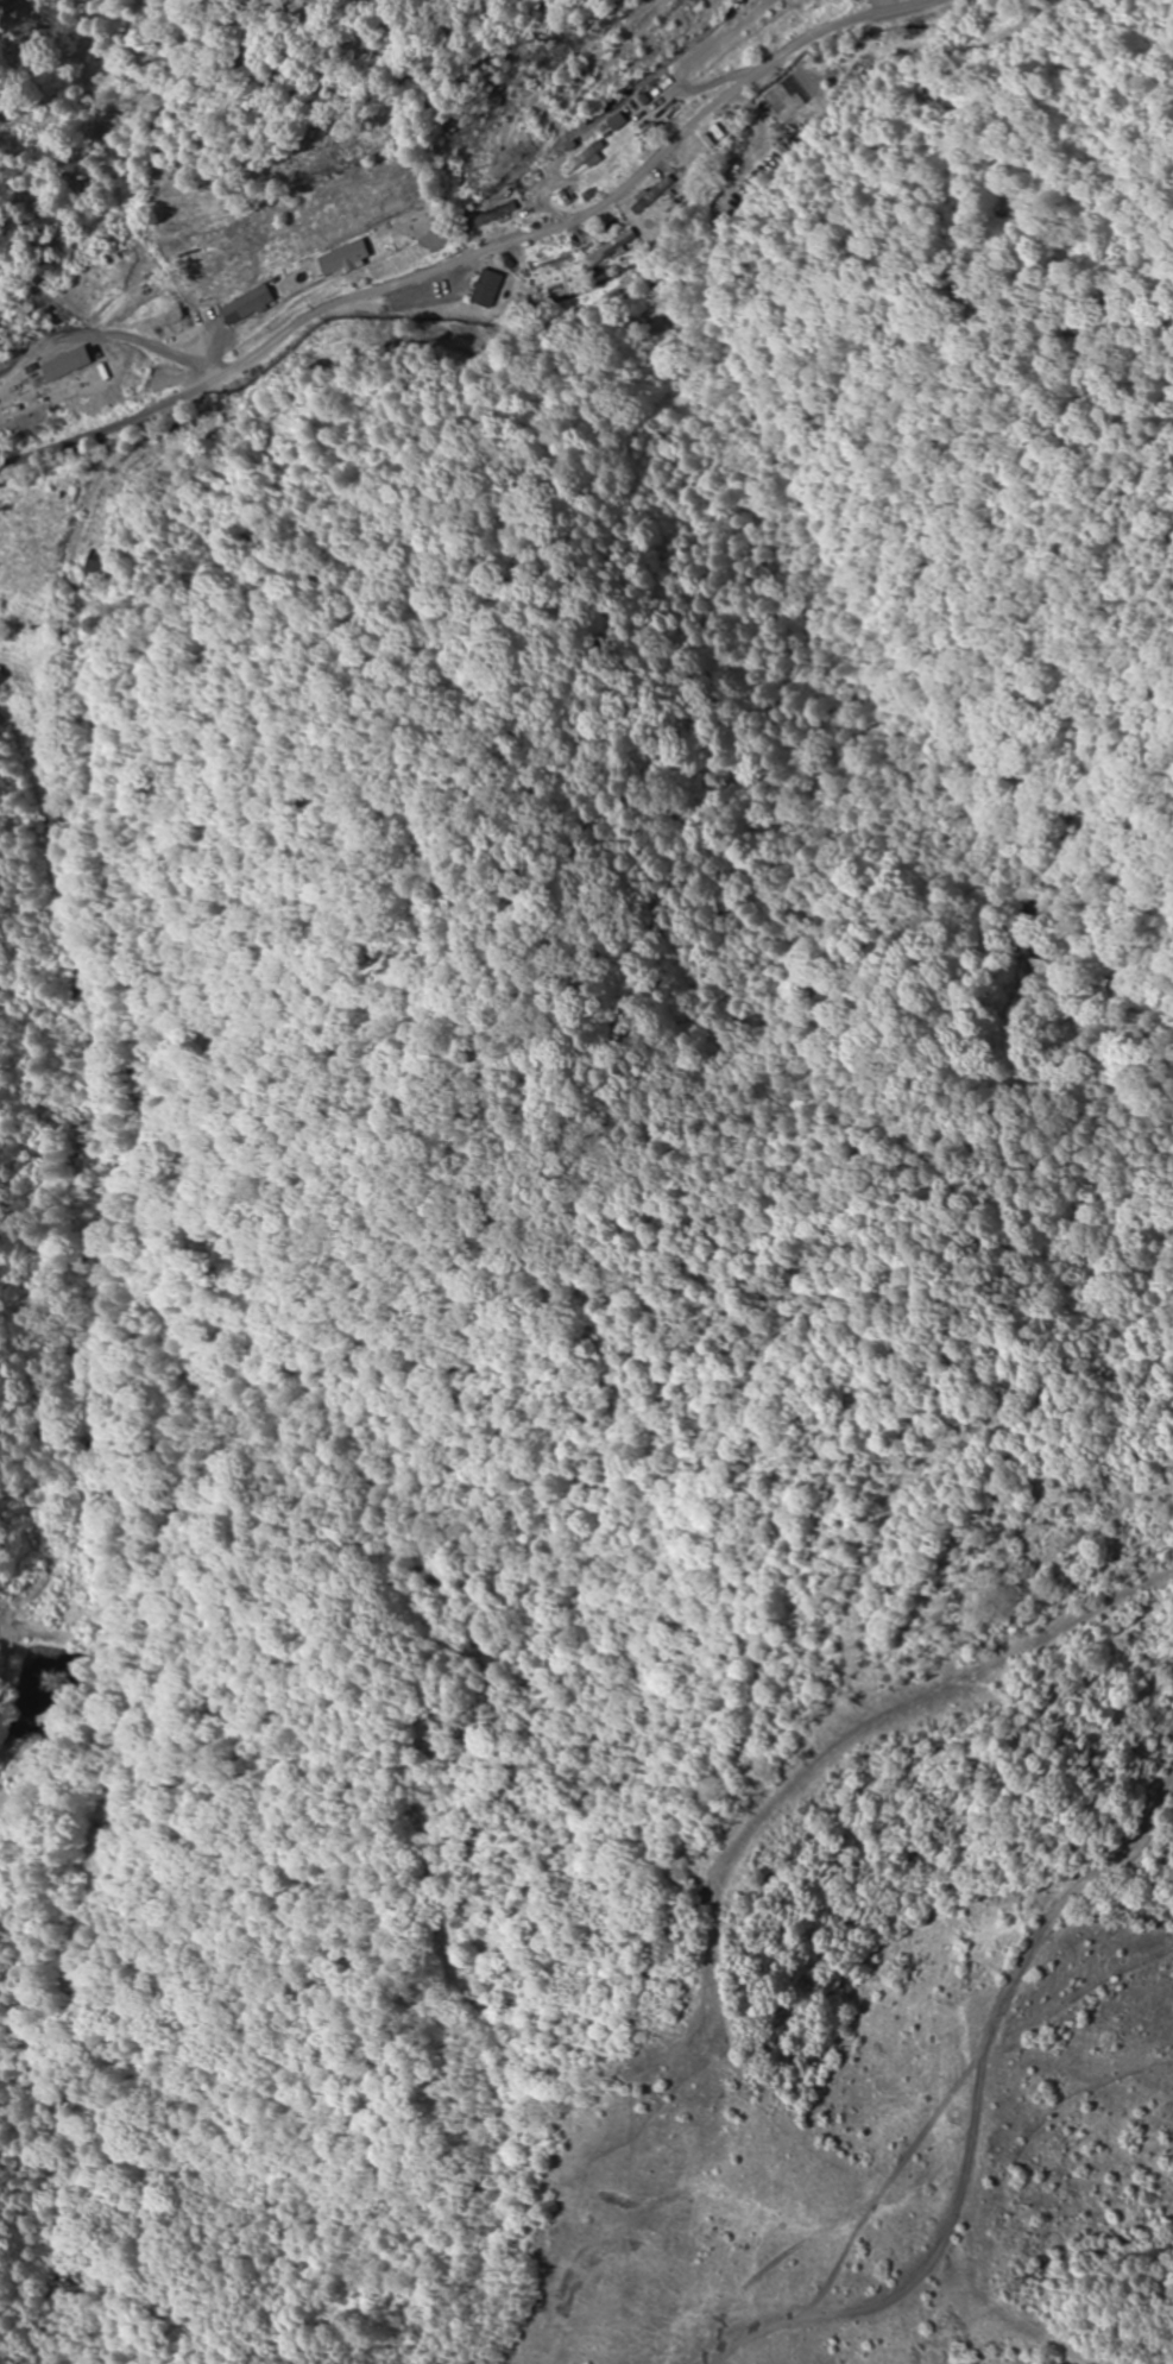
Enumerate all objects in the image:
building: (859, 82)
building: (613, 124)
building: (581, 159)
building: (565, 196)
building: (652, 196)
building: (487, 216)
building: (402, 227)
building: (612, 247)
building: (335, 257)
building: (553, 261)
road: (441, 265)
building: (460, 288)
building: (240, 305)
building: (80, 364)
building: (23, 406)
building: (5, 680)

